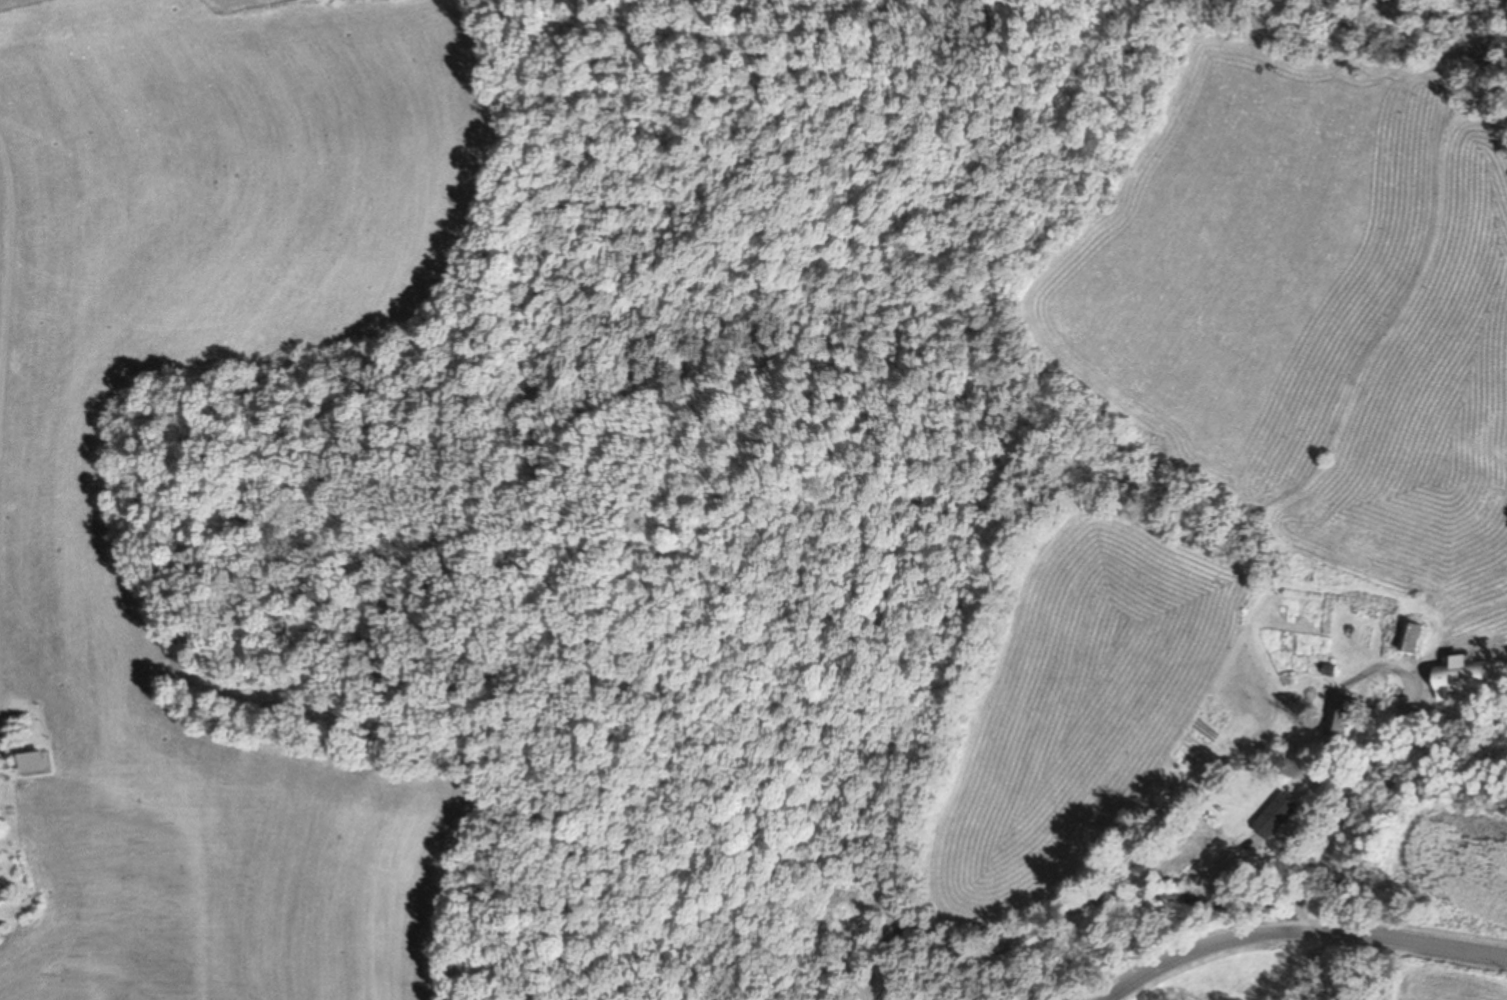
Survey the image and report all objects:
building: (1409, 637)
building: (1460, 676)
building: (1338, 717)
road: (1335, 811)
building: (1274, 816)
building: (7, 890)
road: (1265, 915)

